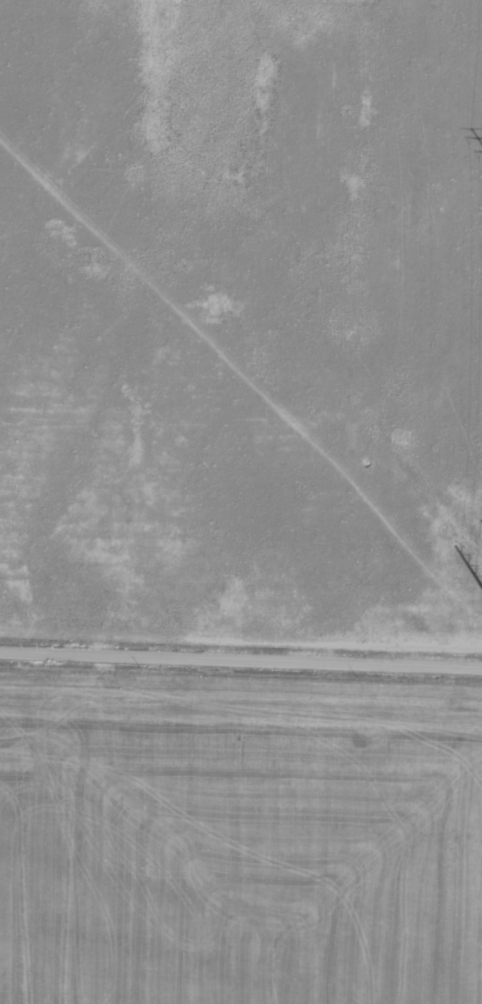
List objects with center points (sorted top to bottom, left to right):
road: (240, 657)

